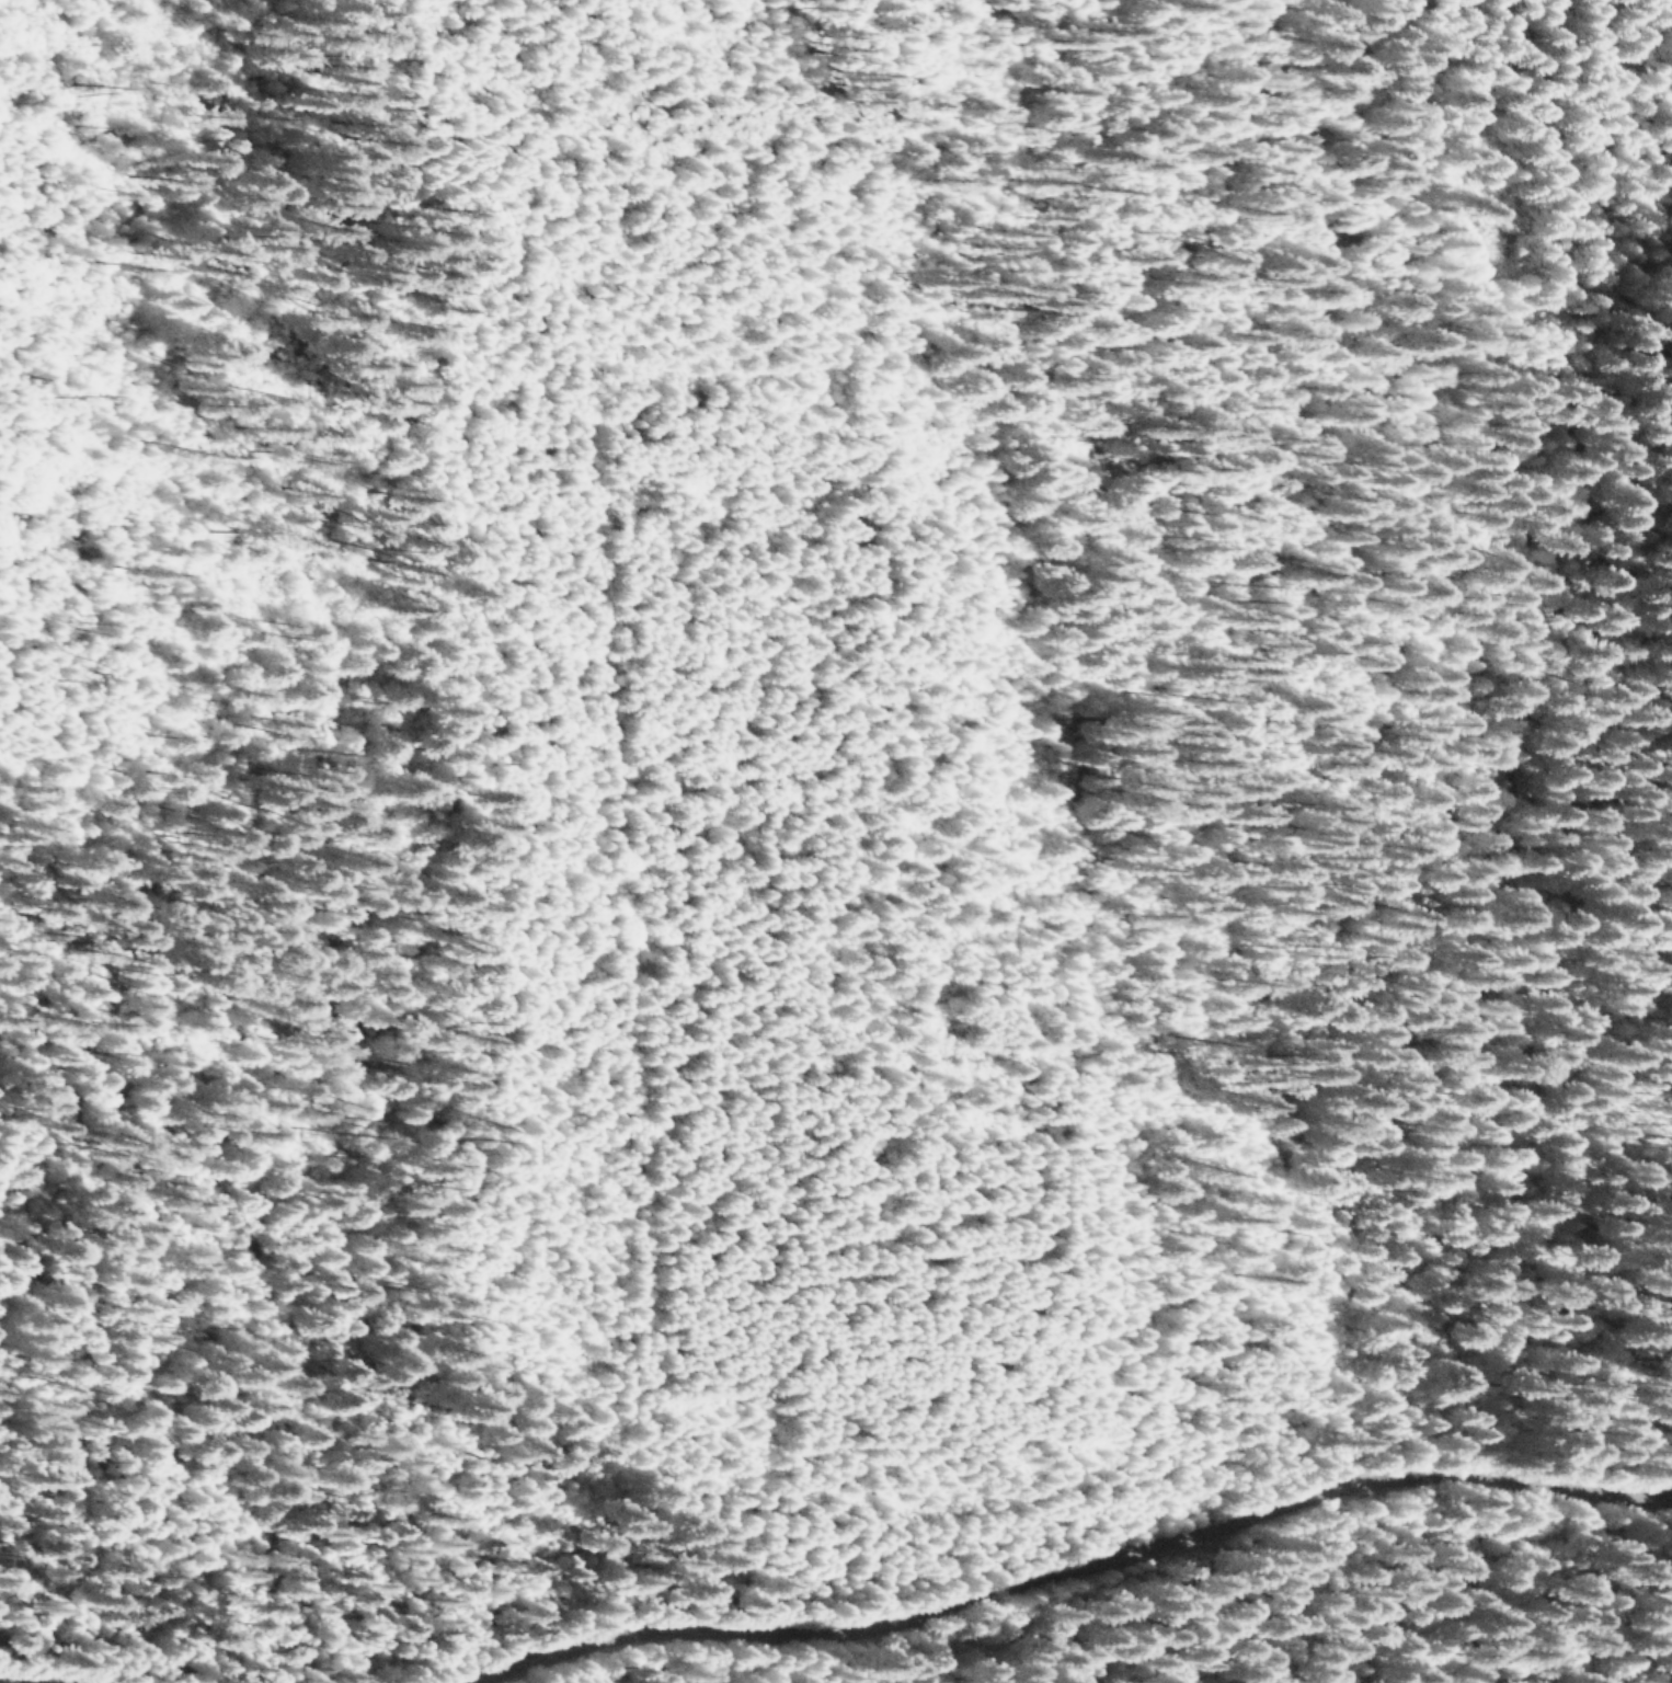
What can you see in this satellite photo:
road: (1067, 1573)

